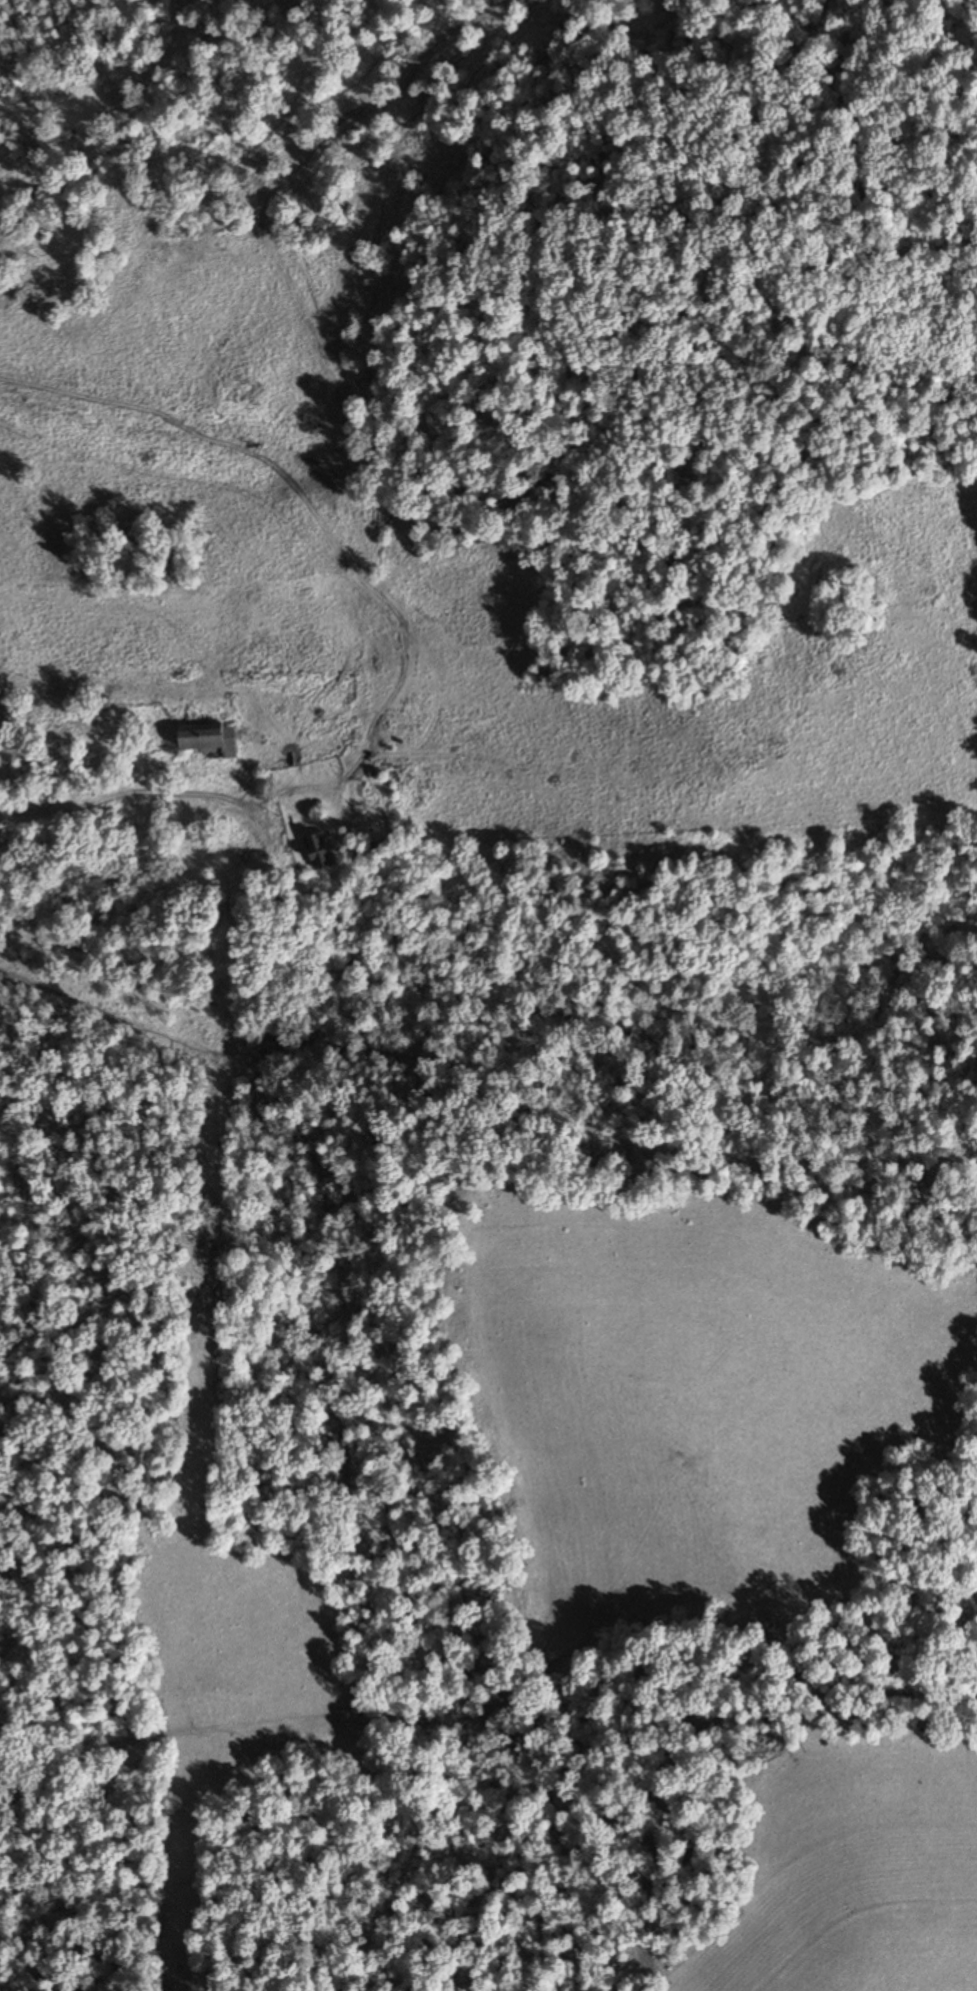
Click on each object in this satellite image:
building: (207, 740)
road: (38, 815)
building: (316, 851)

